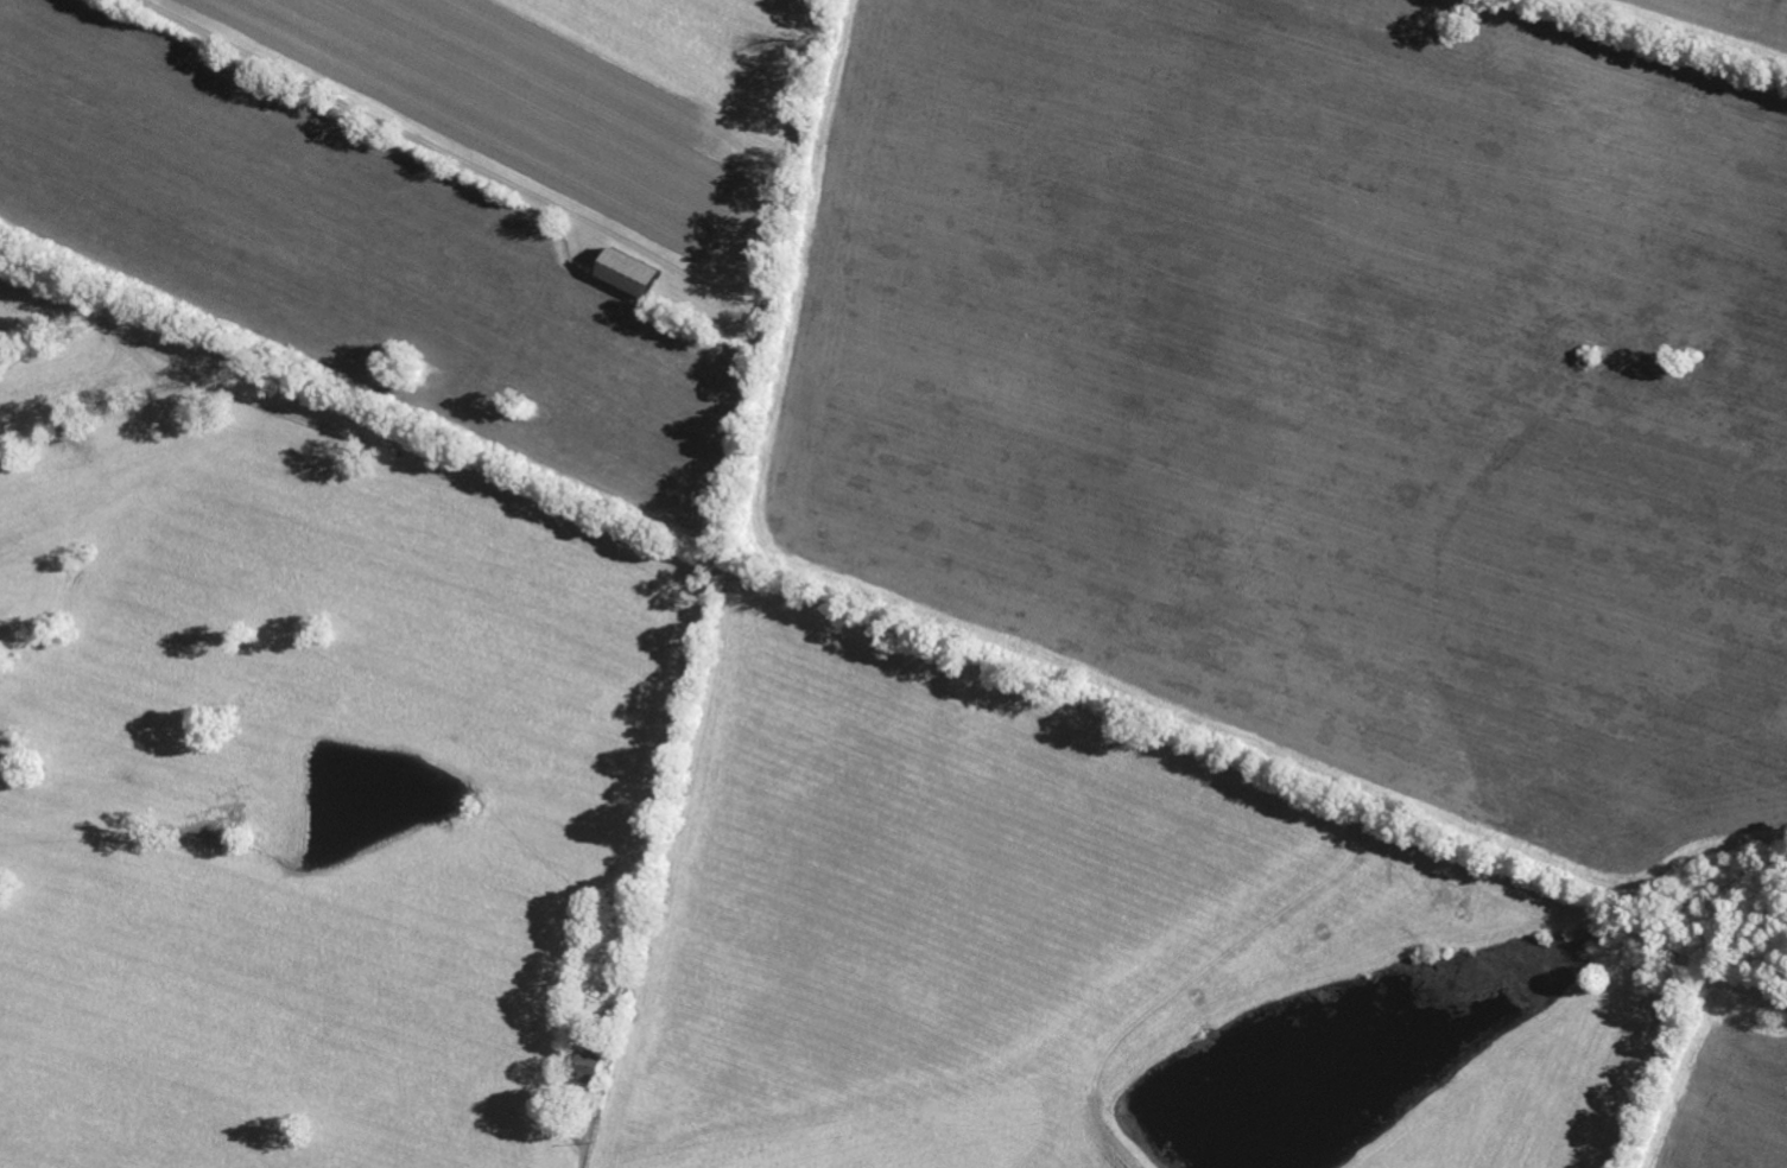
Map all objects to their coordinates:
road: (424, 142)
building: (630, 272)
building: (588, 1065)
road: (589, 1148)

